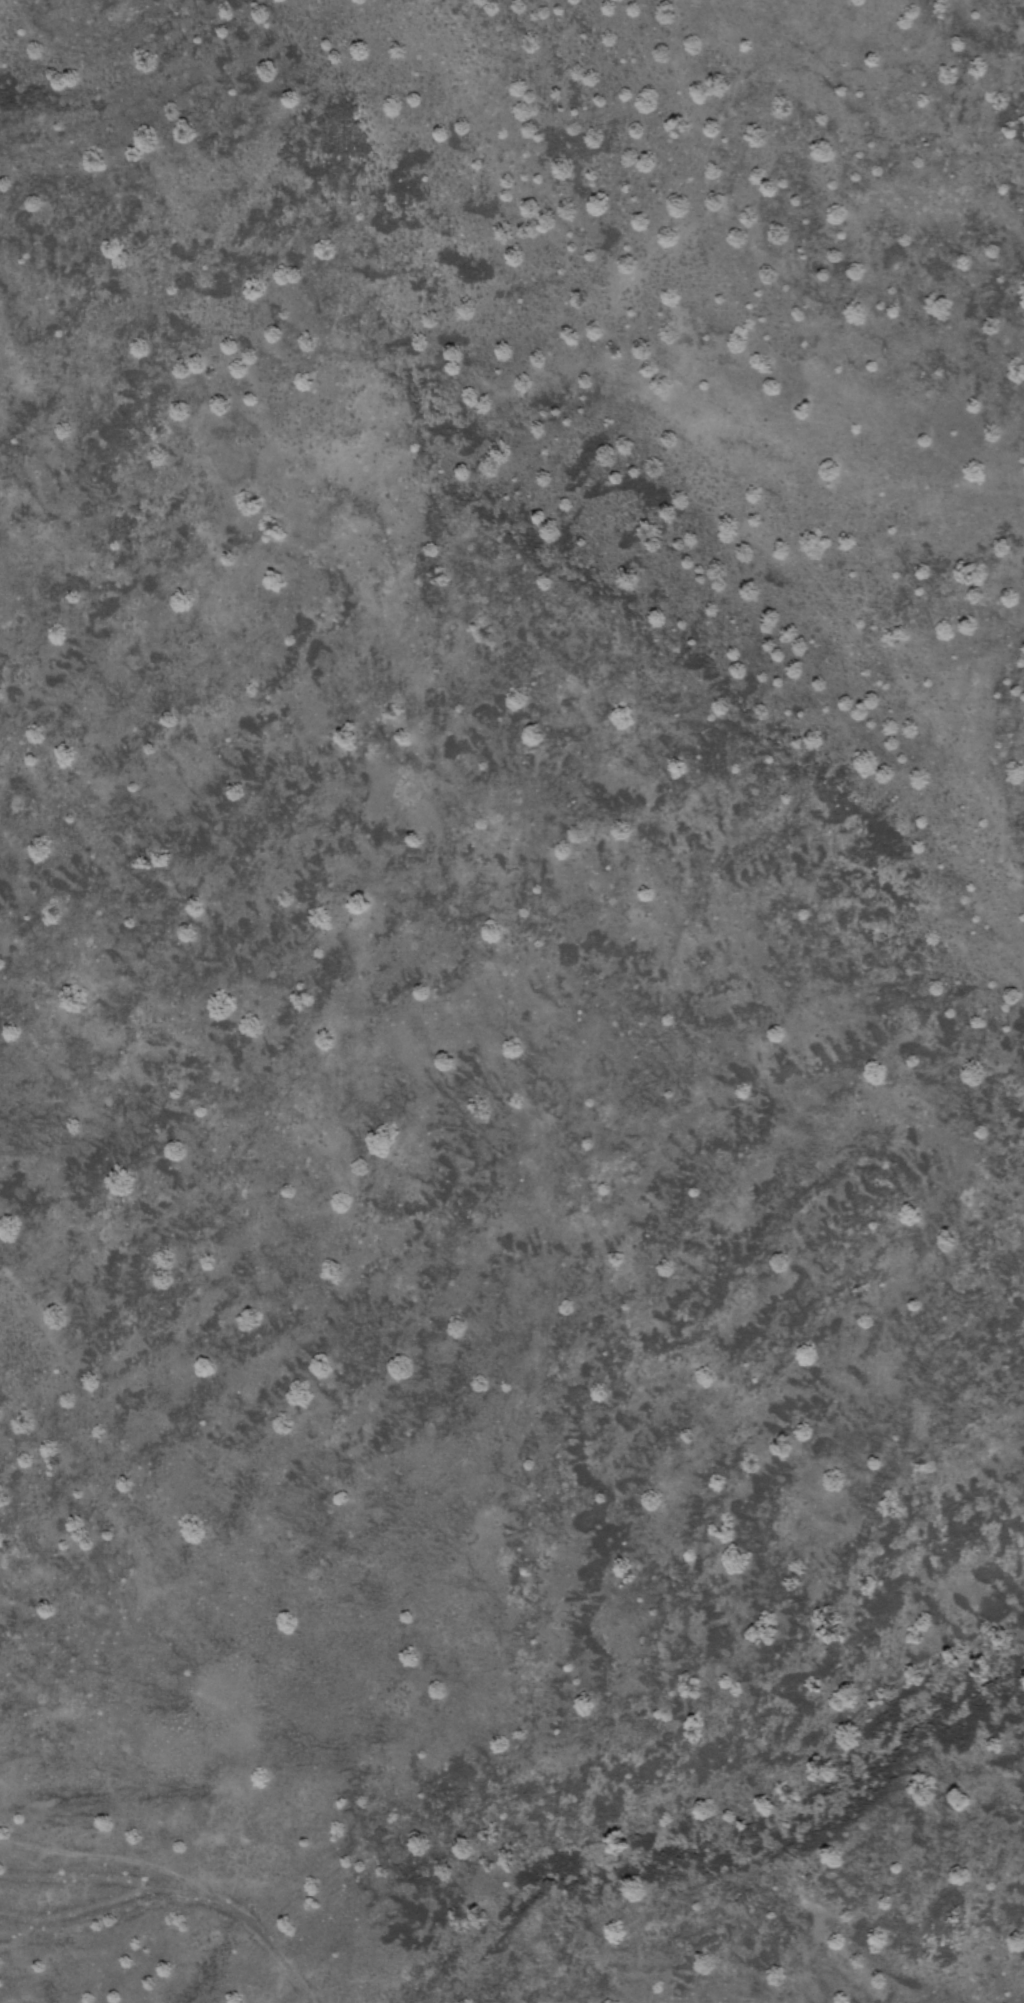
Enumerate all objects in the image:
road: (178, 1896)

